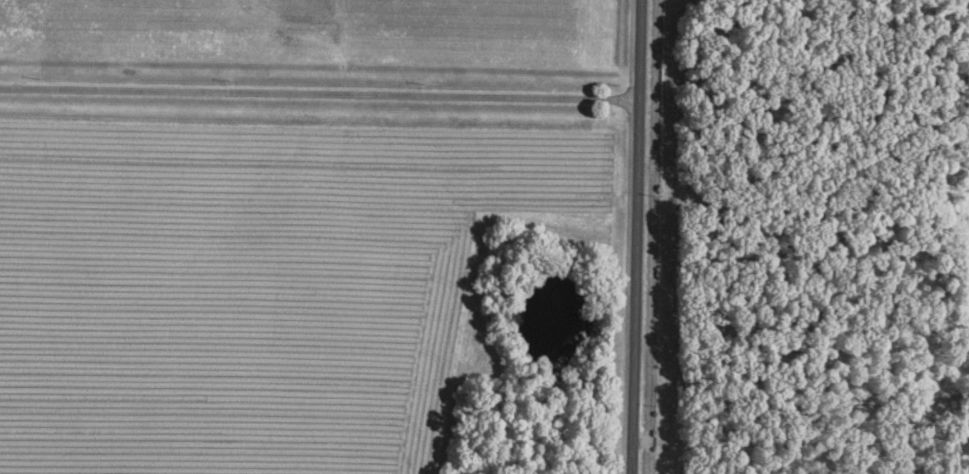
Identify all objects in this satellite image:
road: (322, 95)
road: (641, 237)

